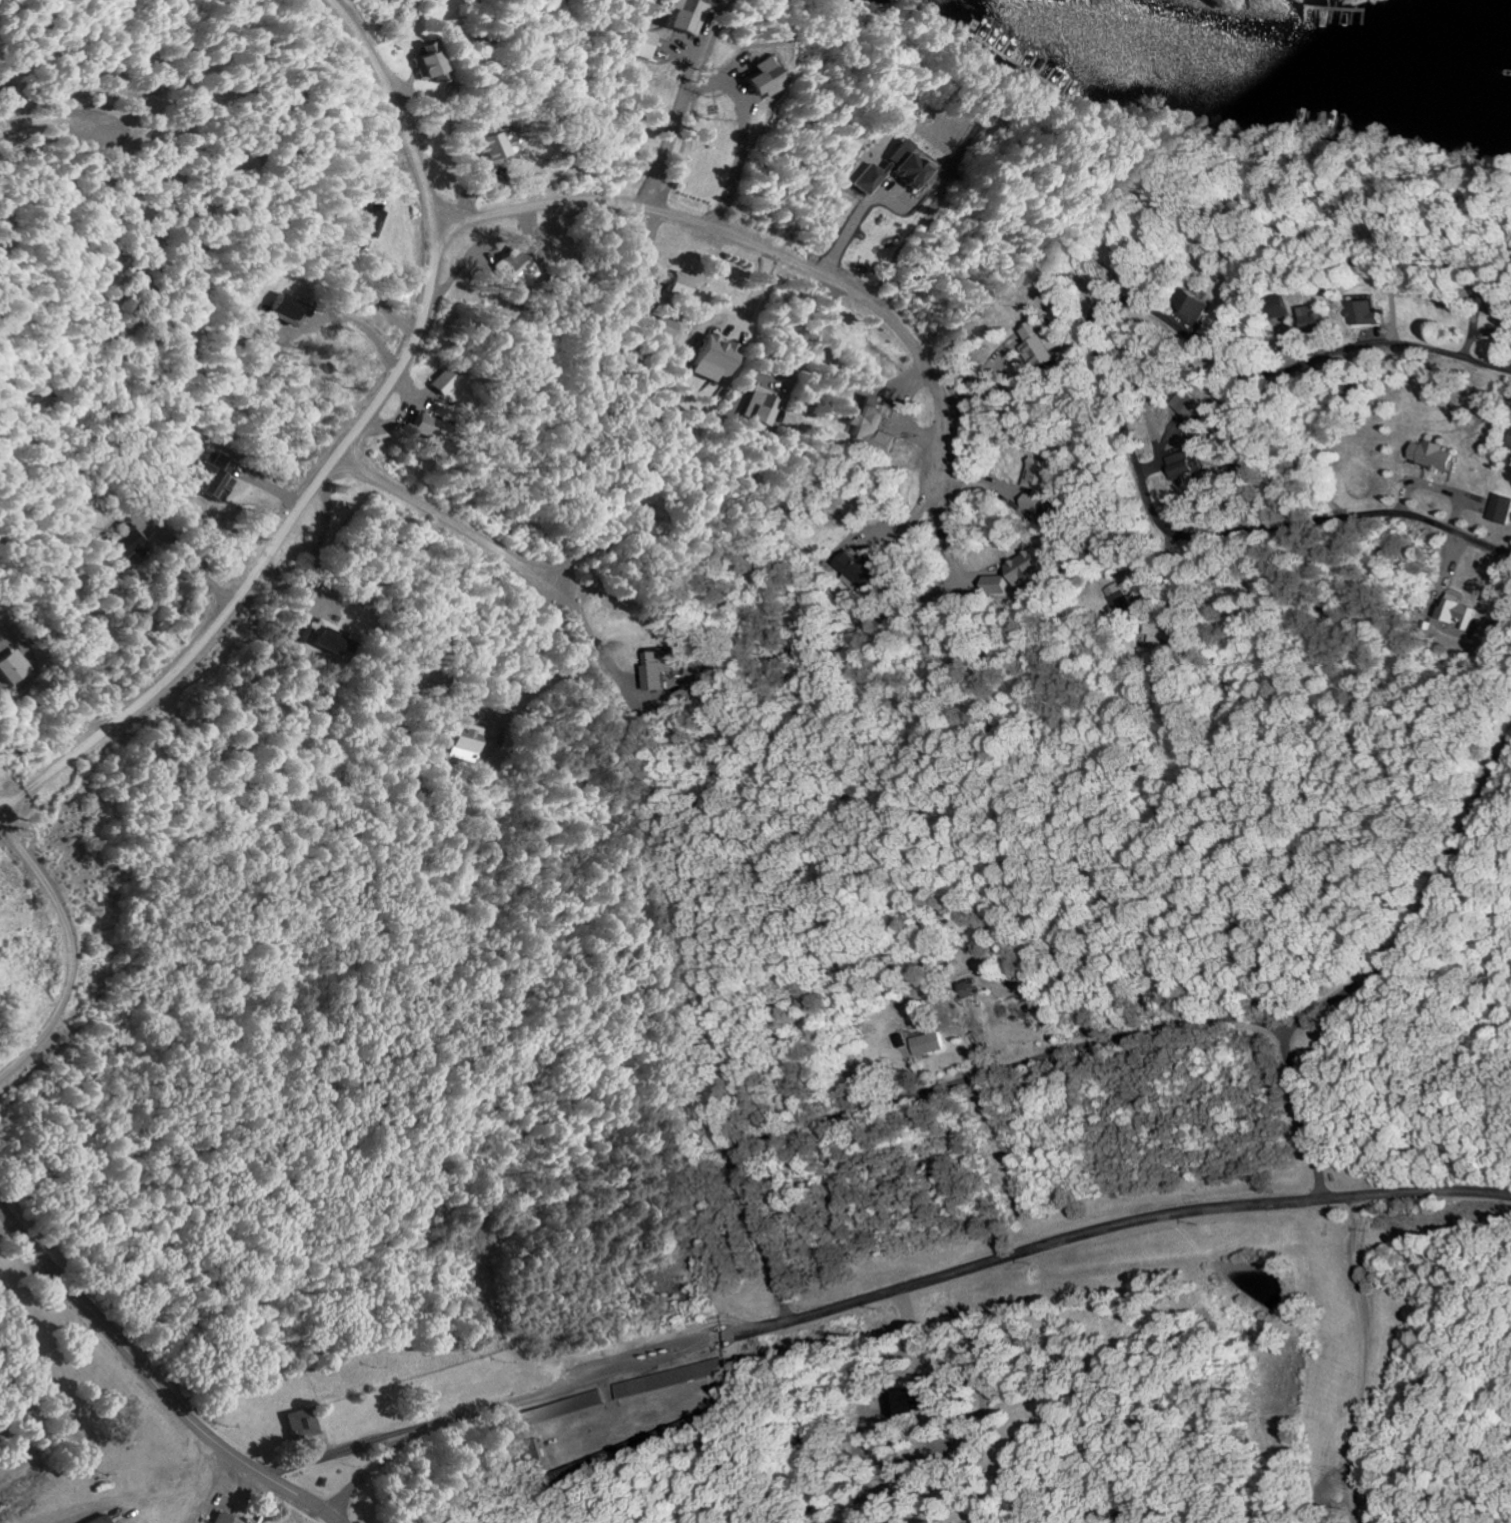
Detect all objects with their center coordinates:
building: (675, 15)
building: (416, 60)
building: (752, 80)
road: (721, 83)
building: (488, 142)
building: (883, 169)
building: (361, 225)
road: (750, 242)
building: (509, 268)
building: (673, 282)
building: (1490, 303)
building: (1192, 305)
building: (1276, 307)
building: (1363, 312)
building: (1312, 318)
building: (667, 327)
building: (1033, 345)
building: (713, 357)
building: (440, 382)
building: (1185, 406)
building: (762, 408)
building: (868, 424)
building: (423, 427)
building: (1508, 439)
road: (339, 449)
building: (1425, 454)
building: (229, 465)
building: (1034, 481)
building: (212, 482)
building: (1497, 509)
road: (443, 514)
building: (118, 543)
building: (854, 570)
building: (1118, 598)
building: (1456, 612)
building: (1158, 628)
building: (318, 634)
building: (11, 666)
building: (652, 669)
building: (464, 741)
road: (68, 944)
building: (971, 989)
building: (928, 1043)
road: (1039, 1089)
road: (464, 1263)
road: (71, 1291)
road: (898, 1313)
road: (522, 1326)
road: (1347, 1366)
park: (5, 1376)
building: (668, 1379)
building: (557, 1410)
building: (296, 1424)
road: (235, 1457)
park: (998, 1470)
building: (220, 1519)
building: (97, 1520)

